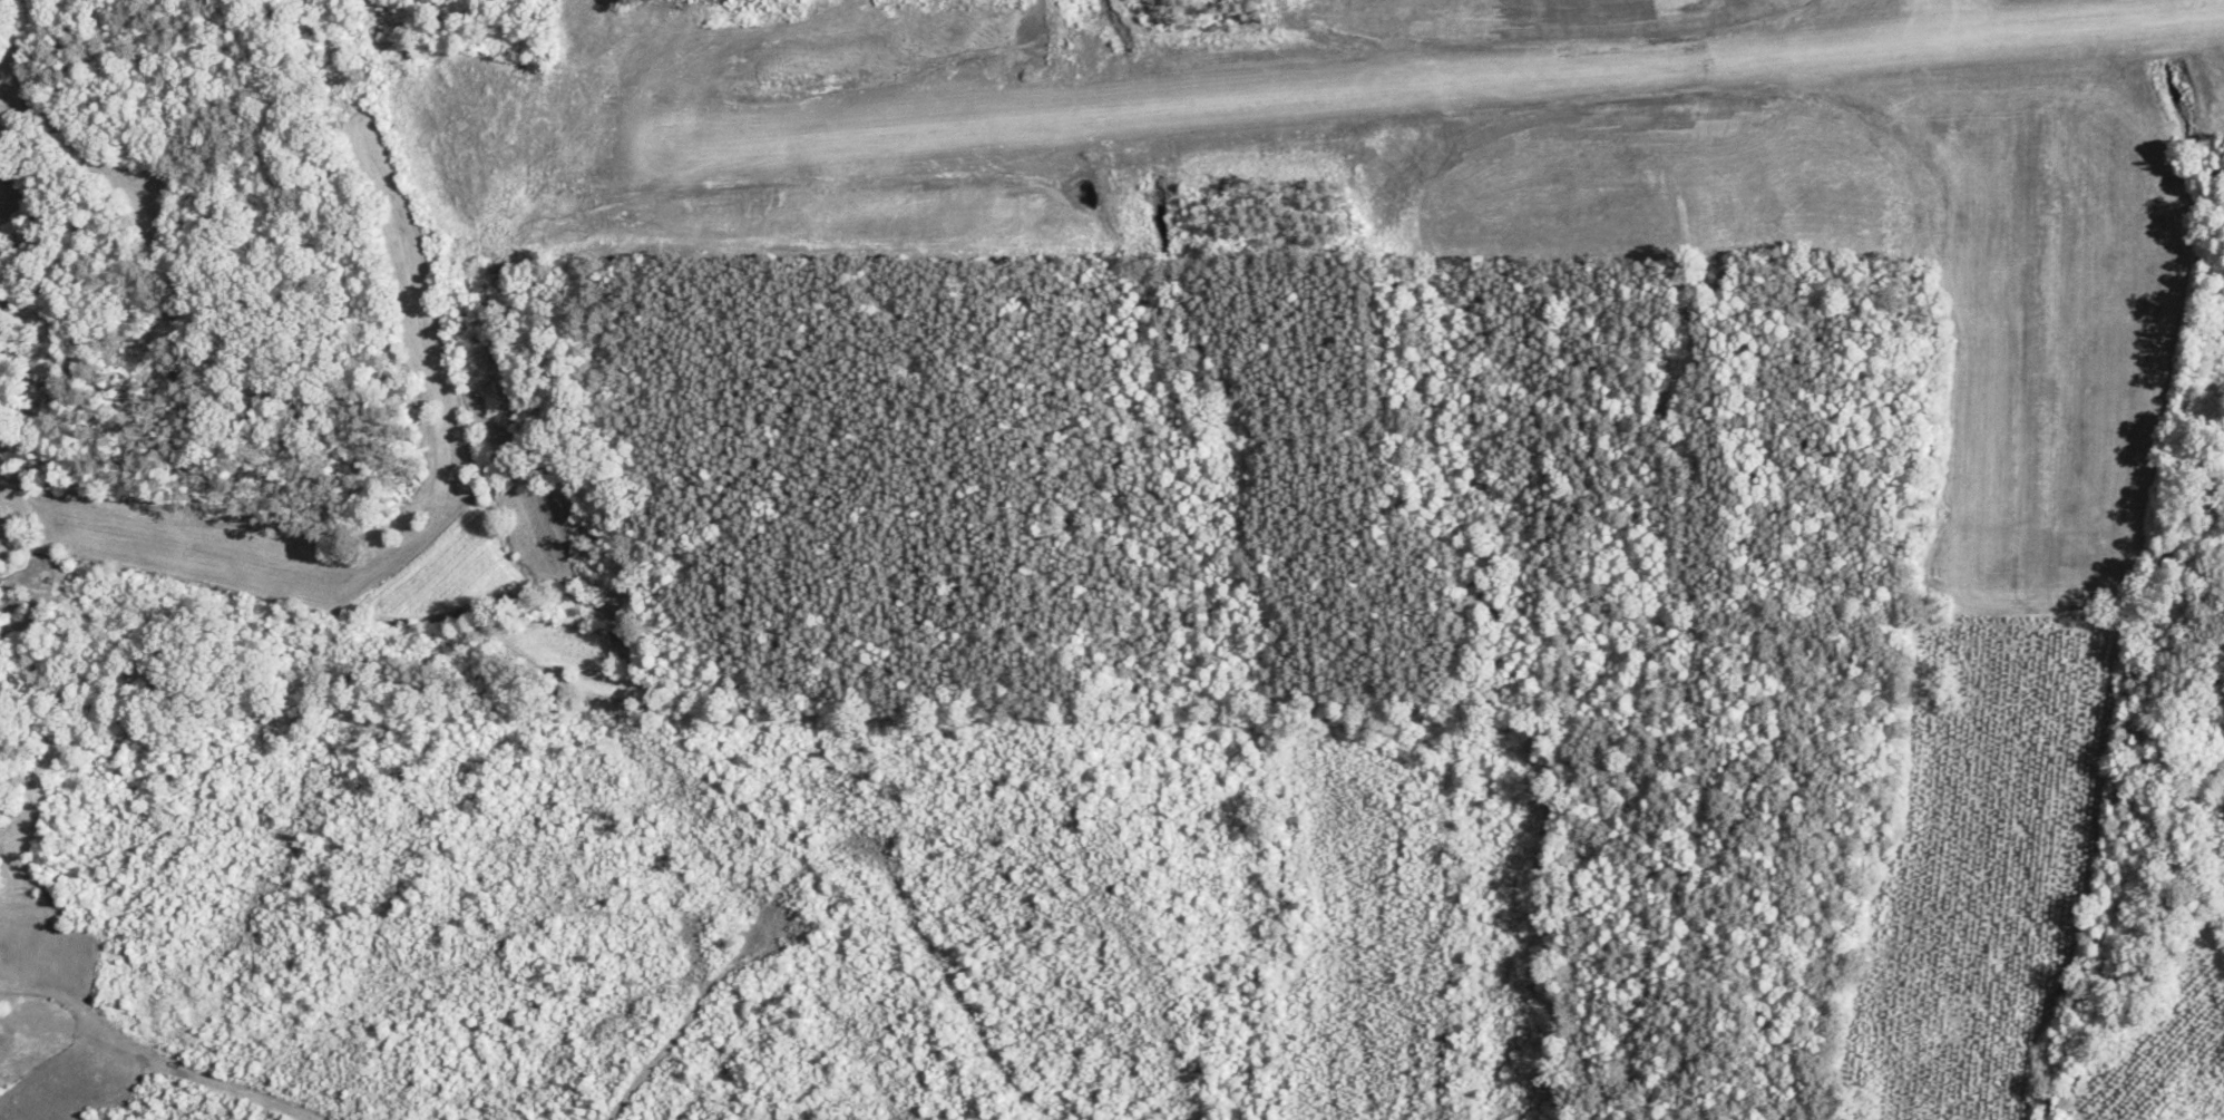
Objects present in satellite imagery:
airport runway: (1443, 75)

